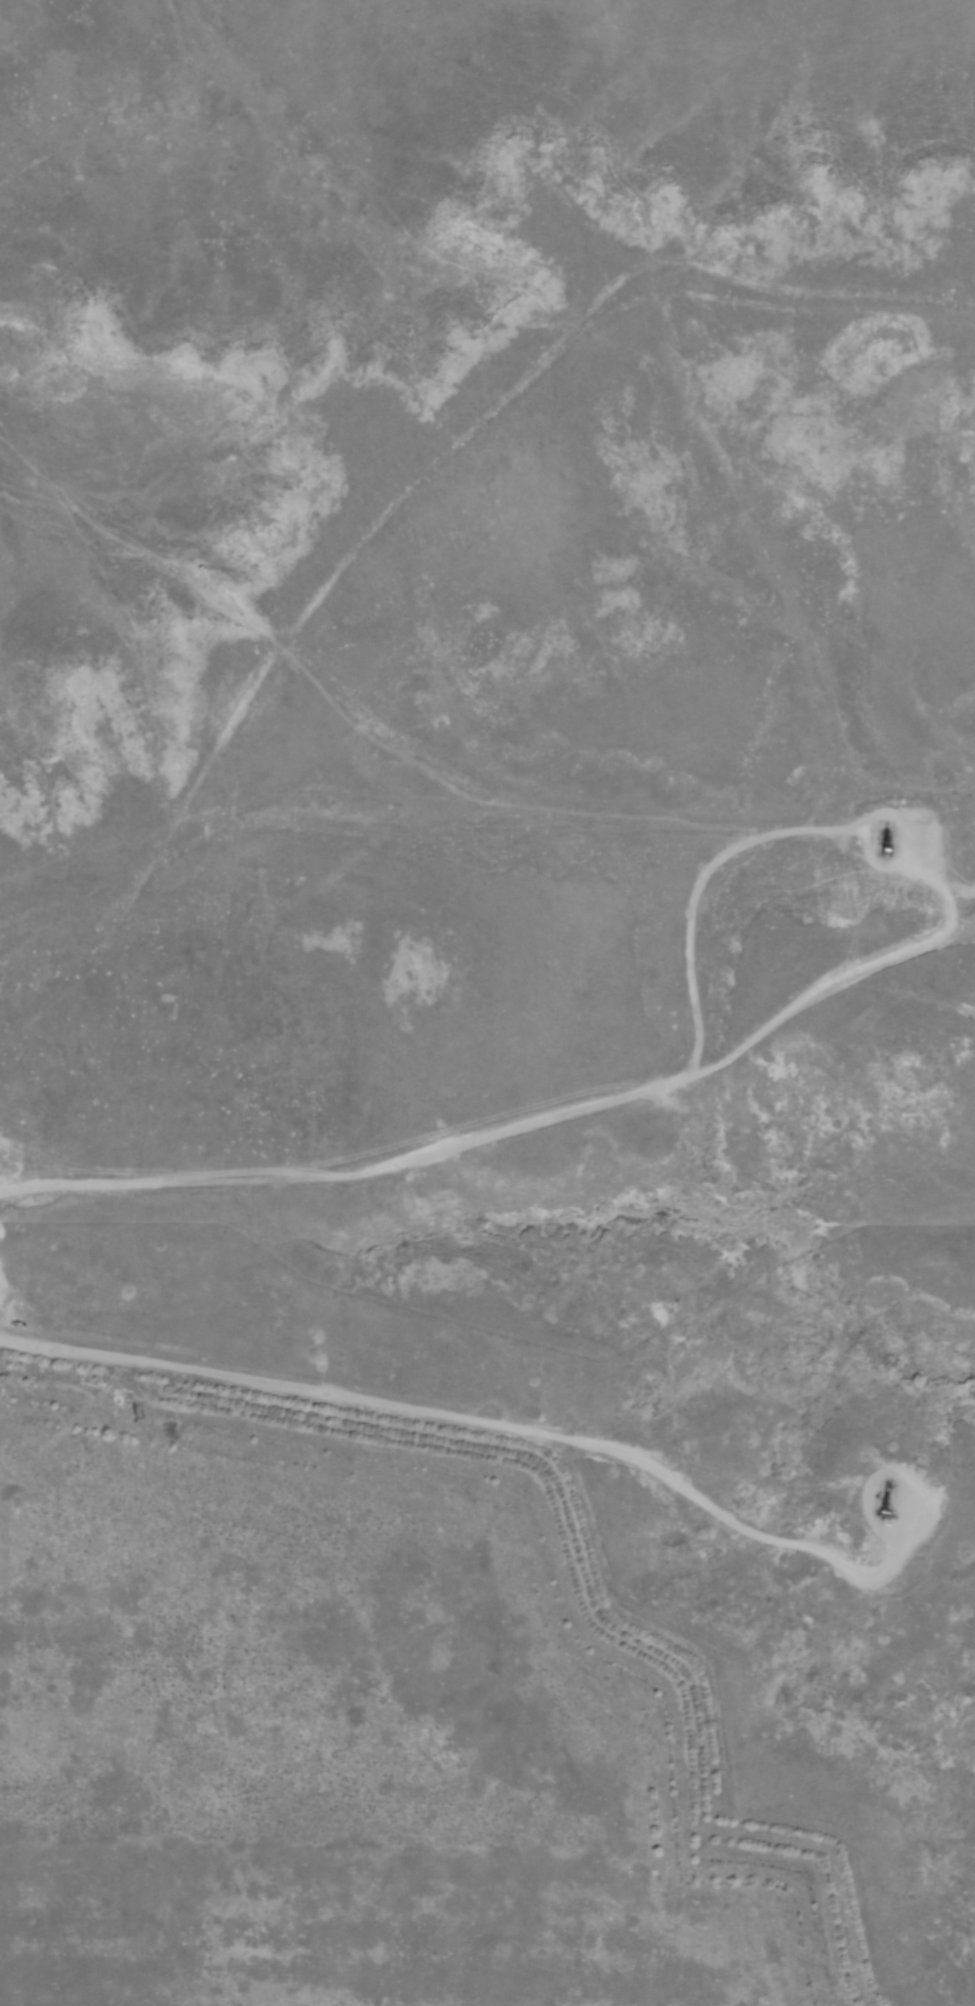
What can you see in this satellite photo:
road: (819, 990)
road: (603, 1102)
road: (3, 1332)
road: (469, 1416)
road: (890, 1470)
petroleum well: (889, 1499)

